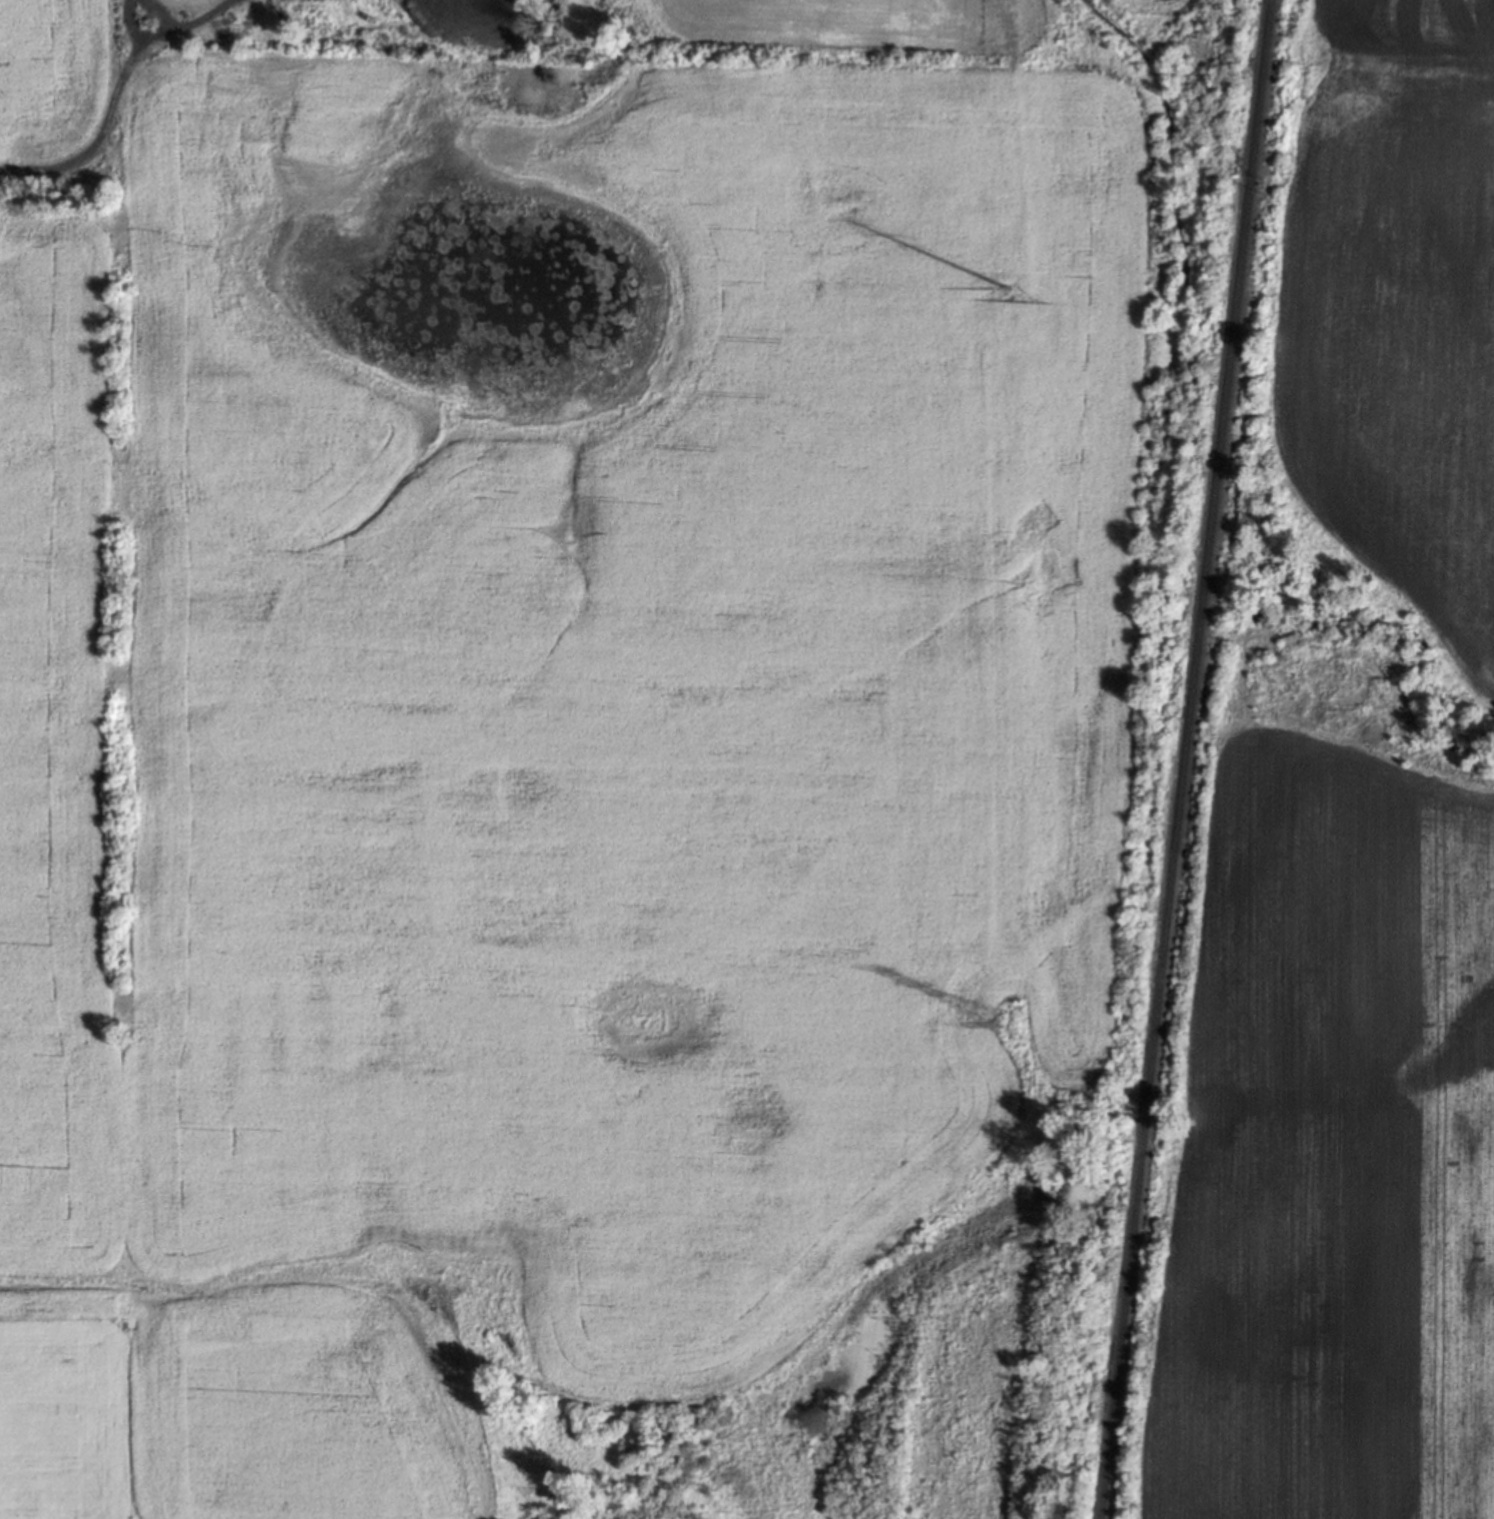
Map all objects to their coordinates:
power tower: (1012, 314)
railway: (1183, 759)
crop: (1348, 837)
power tower: (1012, 1023)

